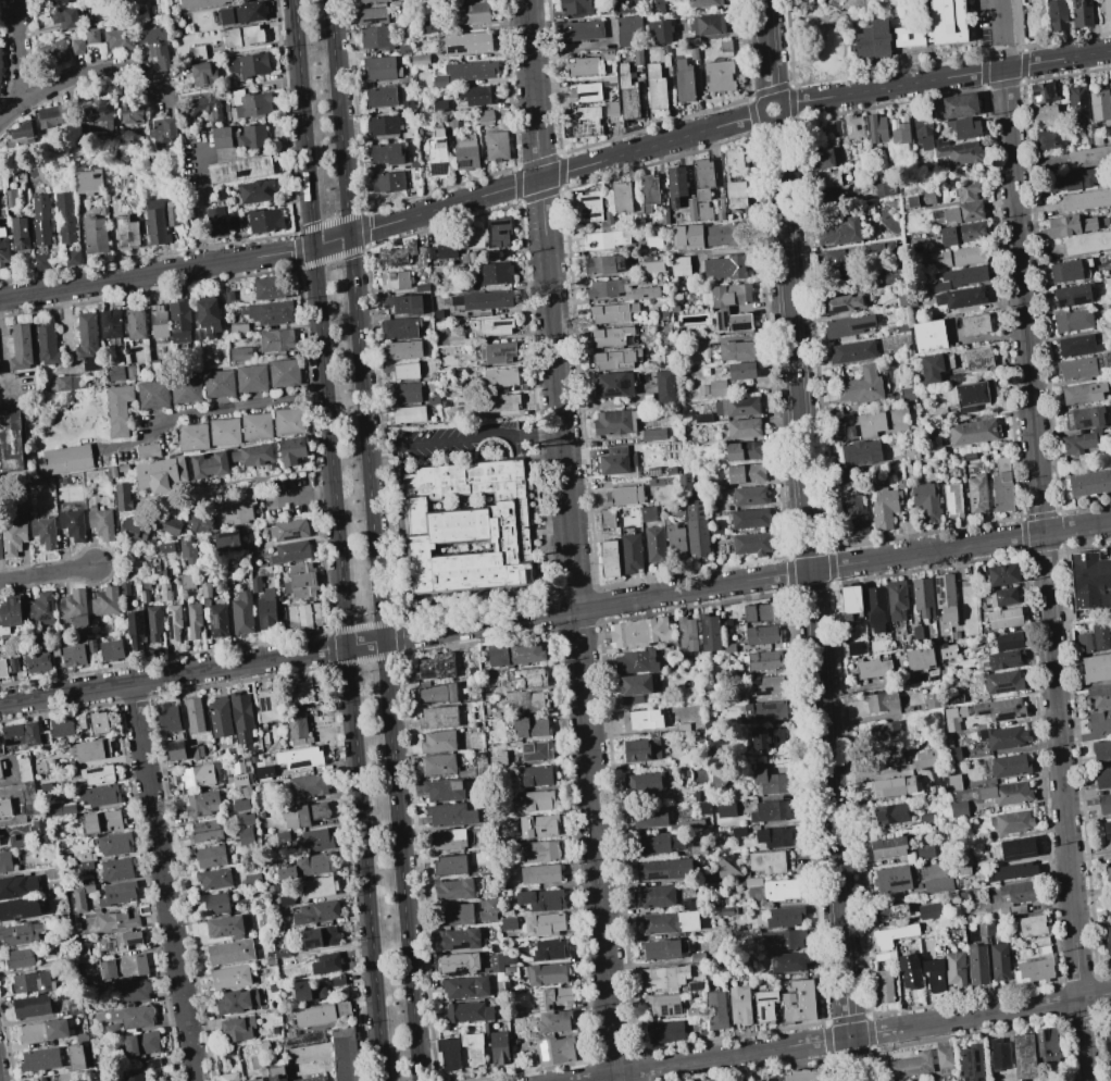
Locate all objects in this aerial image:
building: (54, 1)
building: (371, 1)
building: (702, 2)
building: (198, 3)
building: (575, 7)
building: (654, 8)
building: (1104, 8)
building: (242, 12)
building: (471, 12)
building: (1079, 13)
building: (372, 14)
building: (1057, 15)
building: (64, 17)
building: (709, 24)
building: (429, 25)
building: (937, 26)
building: (626, 28)
building: (582, 30)
building: (659, 32)
road: (999, 34)
building: (91, 35)
building: (244, 36)
building: (376, 37)
building: (118, 39)
building: (872, 39)
park: (822, 41)
building: (466, 42)
building: (155, 45)
building: (724, 45)
building: (76, 46)
rooftop solar panel: (454, 47)
building: (402, 48)
building: (665, 48)
road: (769, 48)
building: (0, 52)
building: (51, 52)
building: (197, 52)
building: (692, 52)
building: (606, 54)
building: (636, 55)
road: (20, 58)
road: (1057, 59)
building: (419, 60)
building: (664, 60)
building: (0, 63)
building: (250, 64)
building: (583, 66)
building: (379, 67)
building: (470, 70)
building: (0, 73)
building: (202, 73)
road: (79, 75)
building: (719, 75)
building: (404, 79)
building: (439, 80)
building: (608, 80)
building: (683, 80)
building: (0, 86)
road: (894, 86)
building: (656, 87)
road: (233, 89)
road: (532, 89)
building: (1043, 91)
rooftop solar panel: (1048, 91)
building: (584, 92)
building: (626, 92)
rooftop solar panel: (1037, 94)
building: (476, 95)
building: (380, 96)
rooftop solar panel: (1082, 101)
building: (247, 104)
building: (407, 104)
building: (439, 104)
building: (1099, 104)
building: (957, 105)
building: (1076, 105)
building: (205, 107)
building: (610, 109)
road: (786, 109)
building: (93, 110)
building: (130, 113)
building: (53, 114)
building: (1045, 115)
building: (483, 116)
building: (586, 121)
building: (383, 125)
building: (451, 126)
building: (852, 126)
building: (963, 127)
building: (161, 128)
building: (831, 128)
building: (875, 128)
building: (898, 128)
building: (21, 131)
building: (923, 132)
building: (812, 135)
building: (221, 137)
building: (251, 137)
building: (1050, 139)
building: (938, 141)
building: (496, 146)
road: (650, 146)
building: (465, 152)
building: (959, 152)
building: (386, 153)
building: (436, 154)
building: (1088, 157)
building: (823, 158)
building: (413, 163)
rooftop solar panel: (464, 166)
building: (239, 169)
rooftop solar panel: (437, 169)
building: (701, 178)
building: (734, 178)
building: (828, 179)
building: (1076, 179)
building: (387, 181)
building: (88, 182)
building: (675, 184)
building: (883, 188)
building: (255, 190)
building: (648, 191)
building: (968, 191)
building: (11, 197)
rooftop solar panel: (588, 197)
building: (620, 197)
building: (919, 199)
building: (1086, 199)
building: (586, 206)
building: (719, 208)
building: (689, 211)
building: (703, 211)
rooftop solar panel: (586, 212)
building: (962, 212)
building: (661, 215)
building: (171, 216)
building: (64, 218)
building: (40, 219)
building: (234, 220)
building: (263, 220)
rooftop solar panel: (500, 220)
building: (635, 220)
building: (215, 221)
building: (155, 222)
building: (604, 222)
building: (1069, 225)
building: (839, 231)
building: (18, 233)
rooftop solar panel: (502, 233)
building: (126, 234)
building: (724, 234)
building: (962, 234)
building: (93, 235)
traffic signals: (349, 235)
building: (686, 235)
building: (473, 238)
building: (497, 238)
building: (603, 239)
building: (1086, 241)
building: (652, 243)
traffic signals: (314, 245)
building: (445, 245)
building: (2, 247)
building: (429, 252)
road: (273, 253)
building: (395, 254)
building: (856, 256)
building: (960, 256)
building: (72, 257)
building: (421, 257)
building: (471, 257)
building: (463, 258)
building: (40, 262)
building: (600, 264)
building: (679, 265)
building: (648, 268)
building: (723, 268)
building: (1070, 269)
building: (892, 272)
building: (494, 273)
building: (964, 275)
rooftop solar panel: (391, 276)
building: (395, 279)
building: (272, 286)
building: (421, 287)
building: (464, 287)
building: (608, 287)
building: (935, 287)
building: (640, 293)
building: (728, 295)
building: (899, 296)
building: (1072, 296)
building: (228, 297)
building: (961, 297)
building: (483, 299)
road: (1022, 299)
rooftop solar panel: (1079, 300)
rooftop solar panel: (1061, 302)
building: (842, 303)
building: (402, 305)
building: (673, 308)
rooftop solar panel: (838, 308)
building: (270, 312)
building: (608, 313)
building: (208, 315)
building: (663, 315)
building: (178, 320)
building: (1073, 320)
building: (157, 321)
building: (731, 321)
building: (134, 323)
rooftop solar panel: (501, 323)
building: (110, 324)
building: (974, 324)
building: (438, 325)
building: (490, 325)
building: (847, 325)
building: (237, 327)
building: (399, 327)
building: (902, 327)
building: (610, 335)
building: (928, 335)
building: (454, 338)
building: (276, 340)
building: (86, 341)
building: (46, 343)
building: (1076, 345)
building: (20, 347)
building: (402, 349)
building: (733, 349)
rooftop solar panel: (504, 351)
building: (851, 351)
building: (497, 352)
building: (240, 353)
building: (975, 358)
building: (614, 359)
building: (154, 366)
building: (931, 366)
building: (1076, 368)
building: (740, 370)
building: (403, 371)
building: (129, 372)
building: (284, 372)
building: (115, 374)
building: (499, 376)
building: (953, 377)
building: (250, 378)
building: (68, 383)
building: (217, 384)
building: (613, 384)
building: (663, 386)
building: (861, 386)
building: (716, 387)
building: (185, 389)
building: (701, 389)
building: (404, 393)
building: (1082, 393)
building: (152, 394)
building: (971, 394)
building: (433, 399)
building: (499, 402)
building: (736, 406)
building: (116, 409)
road: (212, 410)
building: (408, 413)
building: (701, 418)
building: (1084, 418)
building: (288, 421)
building: (613, 422)
building: (875, 422)
building: (255, 426)
building: (742, 427)
building: (223, 432)
building: (972, 432)
building: (652, 434)
building: (191, 436)
road: (463, 438)
building: (1078, 442)
building: (10, 443)
building: (291, 450)
building: (742, 450)
building: (147, 451)
building: (861, 452)
building: (910, 453)
building: (252, 455)
building: (969, 456)
building: (64, 460)
building: (615, 460)
building: (209, 464)
building: (122, 468)
building: (670, 470)
building: (112, 472)
building: (745, 472)
building: (160, 473)
building: (658, 481)
building: (684, 481)
road: (234, 482)
building: (1089, 483)
building: (1001, 485)
building: (976, 493)
road: (300, 494)
building: (623, 495)
building: (748, 495)
building: (122, 496)
building: (951, 499)
building: (925, 500)
rooftop solar panel: (701, 504)
building: (237, 506)
building: (884, 507)
rooftop solar panel: (701, 509)
building: (647, 513)
rooftop solar panel: (702, 514)
building: (852, 514)
building: (606, 518)
building: (748, 518)
building: (198, 521)
building: (100, 522)
building: (164, 523)
building: (72, 524)
road: (1076, 525)
building: (467, 526)
building: (697, 527)
building: (133, 530)
building: (288, 530)
building: (42, 532)
building: (673, 534)
building: (11, 536)
rooftop solar panel: (294, 536)
building: (226, 540)
road: (338, 540)
road: (373, 540)
building: (750, 543)
building: (653, 544)
building: (165, 546)
building: (187, 551)
building: (290, 551)
building: (631, 552)
building: (252, 554)
building: (0, 556)
building: (608, 558)
building: (229, 569)
road: (808, 570)
road: (47, 572)
road: (811, 573)
building: (1002, 574)
building: (186, 581)
building: (299, 581)
building: (1089, 581)
building: (203, 587)
building: (123, 588)
building: (164, 592)
building: (143, 596)
building: (1001, 596)
building: (922, 597)
building: (944, 597)
building: (896, 600)
building: (104, 601)
building: (850, 602)
rooftop solar panel: (49, 607)
building: (39, 608)
building: (874, 608)
building: (74, 609)
building: (266, 609)
rooftop solar panel: (168, 611)
building: (10, 612)
building: (302, 612)
building: (759, 612)
building: (241, 613)
rooftop solar panel: (46, 617)
building: (1003, 618)
building: (192, 620)
building: (216, 620)
building: (173, 621)
building: (152, 622)
rooftop solar panel: (214, 622)
road: (576, 626)
building: (135, 630)
building: (638, 631)
rooftop solar panel: (171, 632)
building: (708, 632)
building: (916, 633)
building: (686, 634)
building: (761, 634)
building: (1093, 638)
building: (906, 641)
building: (1008, 641)
road: (353, 645)
building: (110, 648)
building: (852, 648)
building: (946, 651)
building: (524, 653)
building: (73, 655)
building: (497, 655)
building: (764, 659)
building: (920, 659)
building: (999, 660)
building: (36, 661)
building: (635, 661)
building: (11, 664)
building: (435, 667)
building: (2, 668)
building: (1096, 668)
building: (874, 669)
building: (528, 678)
building: (1001, 682)
building: (634, 684)
building: (765, 685)
rooftop solar panel: (1003, 688)
building: (303, 689)
road: (65, 692)
building: (436, 693)
building: (1098, 697)
building: (956, 698)
building: (932, 700)
building: (530, 701)
building: (879, 701)
rooftop solar panel: (262, 704)
rooftop solar panel: (267, 704)
building: (265, 705)
rooftop solar panel: (769, 706)
building: (1000, 709)
building: (764, 710)
building: (194, 715)
rooftop solar panel: (759, 716)
rooftop solar panel: (771, 716)
building: (166, 717)
building: (219, 717)
building: (240, 717)
building: (438, 717)
building: (640, 720)
building: (1098, 720)
building: (80, 722)
building: (97, 722)
building: (708, 724)
building: (61, 726)
building: (530, 726)
building: (295, 728)
building: (884, 731)
building: (22, 734)
building: (1002, 736)
building: (717, 738)
building: (766, 738)
building: (438, 742)
building: (89, 749)
building: (175, 749)
building: (641, 749)
building: (1101, 749)
building: (534, 750)
building: (192, 751)
building: (952, 755)
building: (890, 757)
building: (252, 758)
building: (299, 758)
building: (925, 758)
building: (50, 762)
building: (238, 762)
building: (480, 763)
building: (438, 765)
building: (1006, 765)
rooftop solar panel: (93, 770)
building: (263, 771)
building: (97, 773)
building: (198, 774)
building: (536, 775)
building: (0, 776)
building: (1102, 776)
building: (239, 780)
building: (769, 781)
building: (952, 782)
building: (642, 783)
building: (307, 784)
building: (45, 786)
building: (891, 786)
building: (442, 790)
building: (245, 791)
building: (269, 792)
building: (1007, 793)
building: (98, 795)
building: (28, 798)
building: (538, 800)
building: (201, 803)
building: (1104, 803)
building: (240, 805)
road: (1064, 806)
building: (704, 807)
building: (4, 808)
building: (66, 808)
building: (725, 808)
building: (51, 809)
building: (958, 809)
building: (770, 810)
building: (303, 815)
building: (450, 815)
building: (889, 815)
building: (648, 816)
building: (926, 818)
building: (244, 819)
building: (102, 821)
building: (1011, 822)
building: (537, 825)
building: (36, 827)
building: (1107, 829)
building: (205, 830)
building: (738, 832)
building: (40, 836)
building: (245, 836)
building: (280, 836)
building: (774, 836)
building: (315, 840)
building: (447, 840)
building: (14, 842)
building: (658, 842)
building: (113, 843)
building: (886, 847)
building: (1015, 848)
building: (539, 850)
building: (923, 850)
building: (82, 856)
building: (210, 856)
building: (7, 860)
building: (766, 861)
building: (961, 862)
building: (313, 863)
building: (449, 865)
building: (83, 866)
building: (117, 868)
building: (663, 868)
building: (725, 868)
building: (1011, 871)
building: (52, 872)
building: (285, 872)
building: (539, 873)
building: (1108, 874)
building: (213, 878)
building: (251, 878)
building: (892, 879)
road: (162, 881)
building: (751, 881)
rooftop solar panel: (897, 883)
building: (17, 885)
building: (87, 885)
building: (319, 886)
building: (937, 886)
building: (272, 889)
building: (452, 889)
building: (779, 889)
building: (114, 894)
building: (656, 895)
building: (962, 895)
building: (1014, 896)
building: (77, 899)
building: (285, 899)
building: (541, 899)
building: (214, 903)
building: (260, 904)
building: (18, 908)
building: (1107, 908)
building: (487, 909)
building: (504, 909)
building: (726, 910)
building: (929, 910)
building: (316, 911)
building: (889, 911)
building: (453, 915)
building: (784, 916)
building: (114, 920)
building: (262, 922)
building: (669, 922)
building: (508, 923)
building: (544, 923)
building: (74, 925)
building: (1032, 925)
building: (223, 927)
building: (984, 928)
building: (20, 933)
building: (891, 935)
building: (320, 936)
building: (458, 939)
building: (783, 939)
building: (120, 941)
rooftop solar panel: (133, 941)
building: (1040, 941)
rooftop solar panel: (312, 942)
building: (1108, 942)
rooftop solar panel: (110, 946)
rooftop solar panel: (461, 947)
building: (663, 948)
building: (549, 949)
building: (1043, 949)
building: (229, 952)
building: (284, 953)
building: (80, 954)
building: (881, 957)
building: (20, 958)
building: (509, 960)
building: (787, 961)
building: (1000, 961)
building: (270, 962)
building: (325, 962)
building: (496, 962)
building: (458, 964)
building: (976, 965)
building: (123, 966)
building: (954, 968)
building: (509, 970)
building: (1033, 970)
building: (909, 971)
building: (547, 973)
building: (933, 973)
building: (498, 976)
building: (664, 976)
building: (229, 977)
building: (336, 980)
building: (30, 982)
building: (883, 985)
building: (466, 986)
building: (695, 986)
building: (272, 987)
building: (132, 990)
building: (308, 991)
building: (552, 997)
building: (237, 1001)
building: (797, 1002)
building: (661, 1004)
building: (738, 1004)
building: (763, 1005)
building: (32, 1006)
building: (74, 1007)
building: (715, 1009)
building: (466, 1011)
building: (694, 1012)
rooftop solar panel: (760, 1014)
road: (985, 1014)
building: (314, 1015)
building: (133, 1016)
building: (553, 1020)
building: (701, 1024)
building: (111, 1028)
building: (238, 1028)
building: (41, 1030)
building: (274, 1030)
road: (859, 1030)
building: (662, 1031)
building: (1108, 1032)
building: (80, 1036)
rooftop solar panel: (1040, 1036)
rooftop solar panel: (1047, 1036)
building: (301, 1039)
building: (140, 1042)
building: (1046, 1044)
building: (264, 1045)
building: (472, 1047)
building: (498, 1047)
building: (553, 1049)
rooftop solar panel: (1041, 1049)
building: (226, 1052)
rooftop solar panel: (545, 1052)
building: (447, 1053)
building: (344, 1054)
building: (999, 1054)
road: (726, 1056)
building: (1023, 1056)
building: (75, 1057)
rooftop solar panel: (968, 1058)
rooftop solar panel: (975, 1058)
building: (39, 1059)
building: (254, 1061)
building: (150, 1063)
building: (920, 1063)
building: (970, 1063)
road: (852, 1064)
rooftop solar panel: (968, 1069)
rooftop solar panel: (976, 1069)
building: (276, 1073)
building: (802, 1076)
rooftop solar panel: (969, 1076)
building: (228, 1077)
building: (134, 1078)
building: (311, 1078)
road: (596, 1078)
road: (615, 1078)
building: (253, 1079)
building: (767, 1079)

